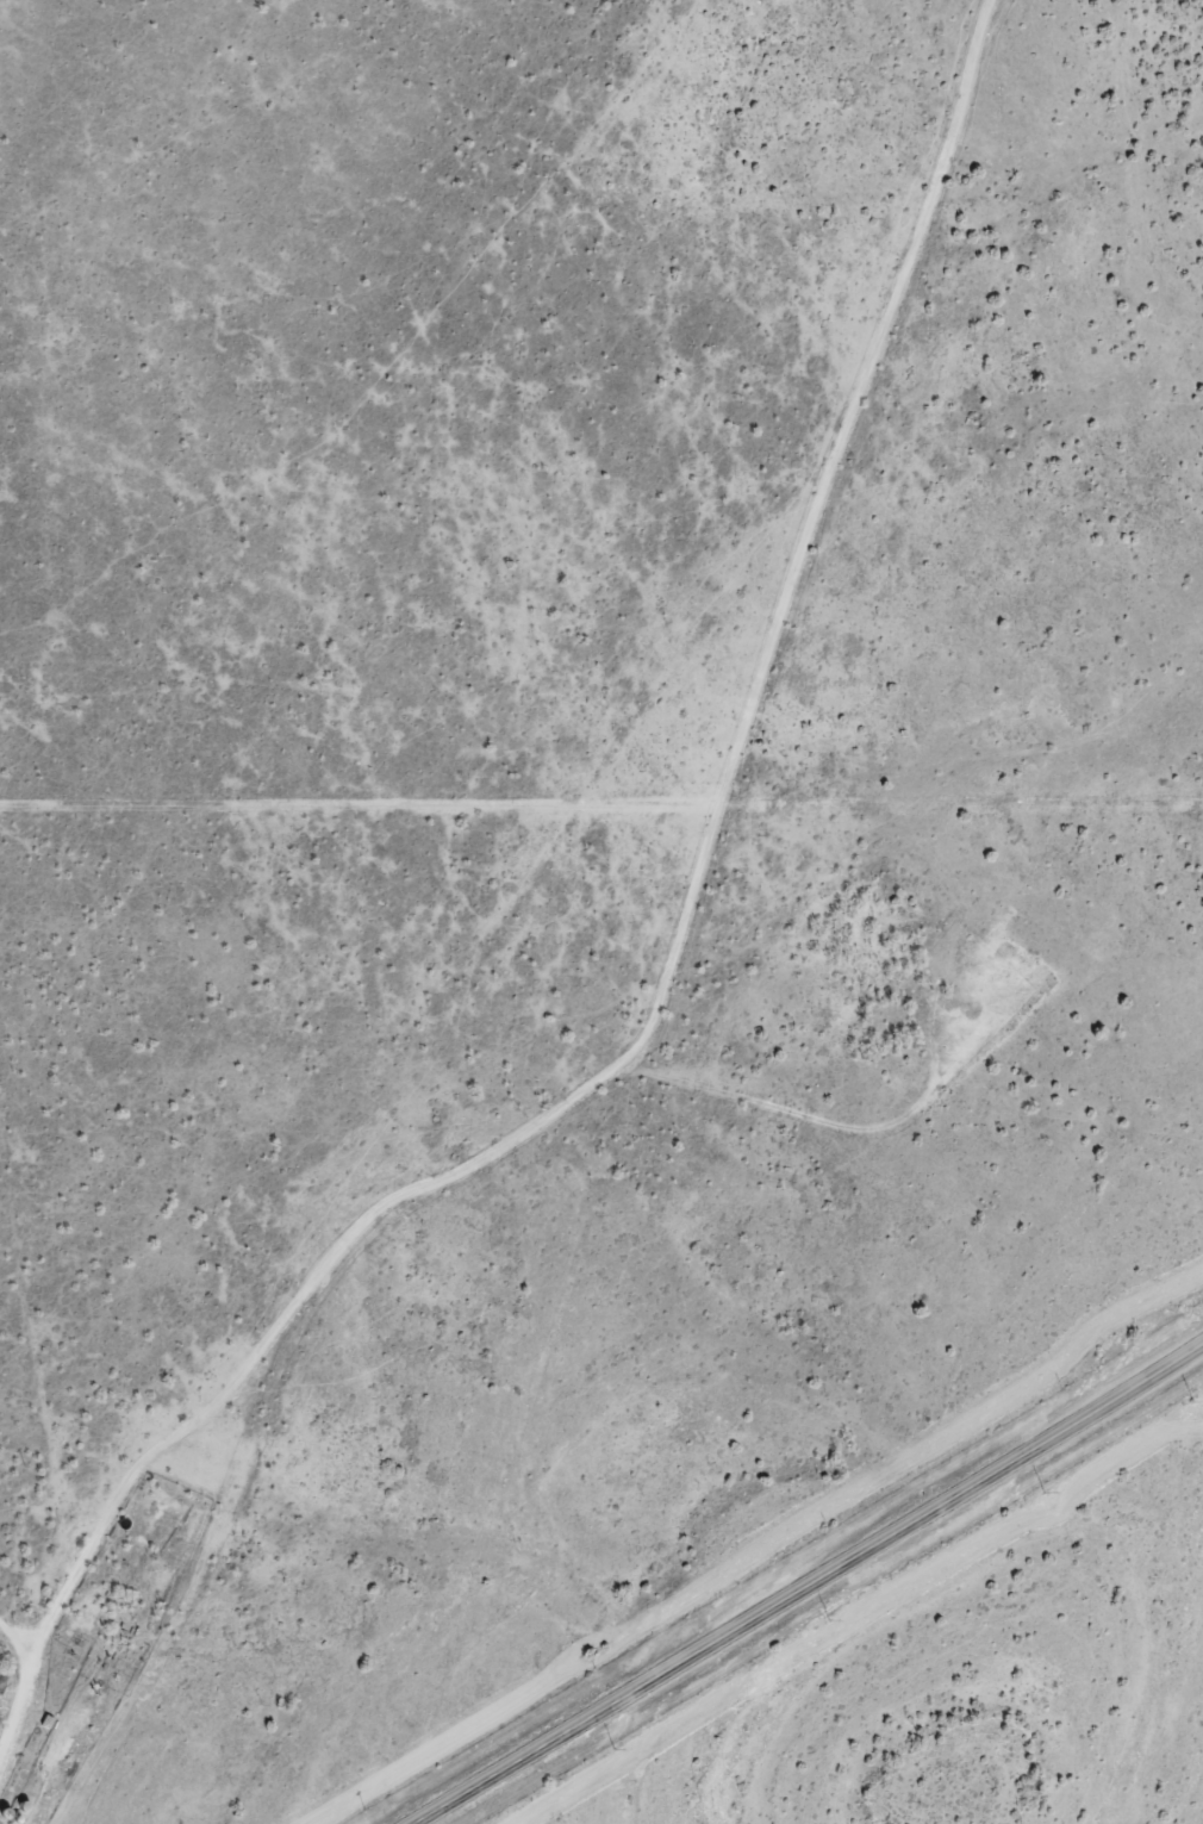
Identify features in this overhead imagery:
road: (678, 930)
power tower: (1190, 1405)
power tower: (1041, 1495)
road: (809, 1585)
power tower: (828, 1623)
road: (24, 1687)
power tower: (611, 1751)

